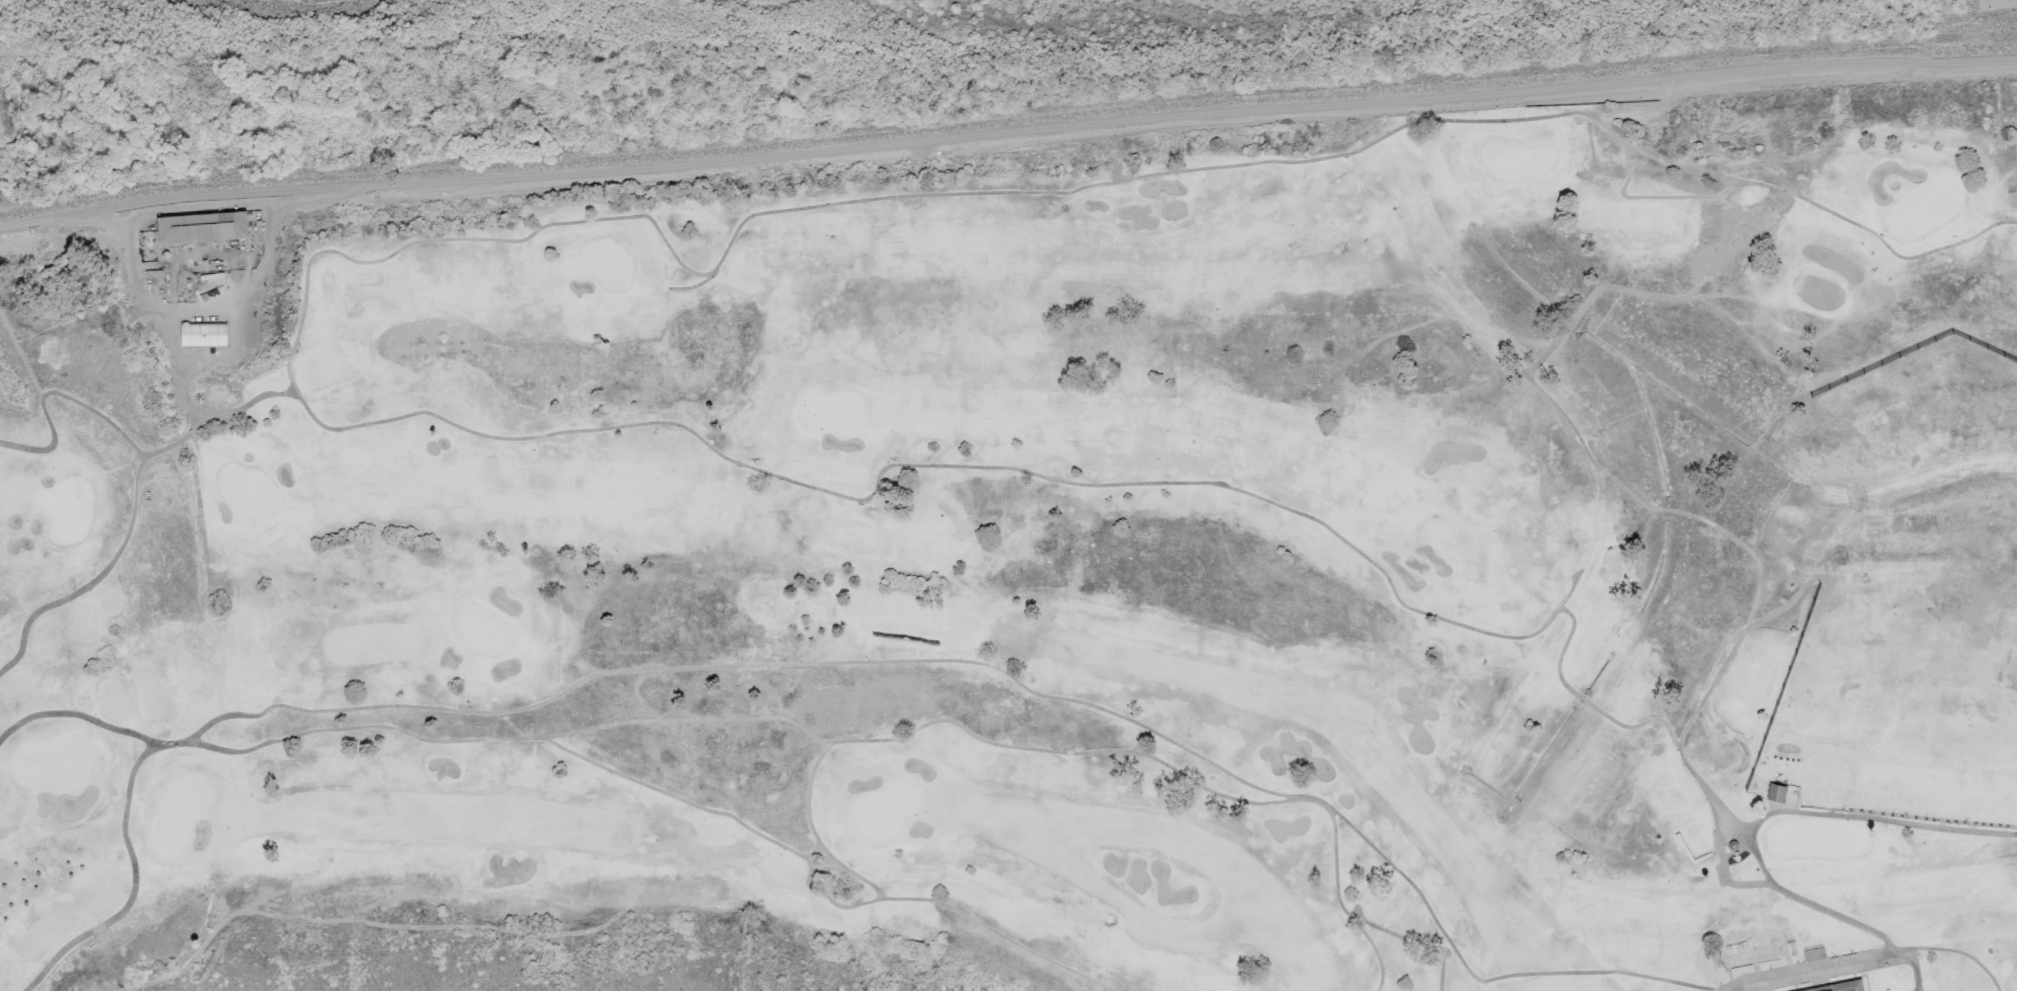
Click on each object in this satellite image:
road: (1183, 115)
road: (1347, 153)
road: (1654, 197)
road: (35, 220)
building: (201, 227)
building: (147, 247)
road: (131, 275)
road: (1623, 290)
road: (193, 310)
building: (202, 334)
road: (56, 393)
road: (669, 423)
road: (132, 508)
road: (1714, 527)
park: (1036, 555)
road: (1568, 592)
road: (742, 666)
road: (1603, 713)
road: (81, 716)
road: (528, 738)
road: (1200, 786)
building: (1775, 792)
road: (1876, 818)
road: (812, 832)
road: (1742, 833)
road: (811, 851)
road: (133, 883)
road: (1768, 885)
road: (815, 887)
road: (1962, 953)
road: (1577, 972)
road: (1914, 972)
road: (1740, 986)
building: (1838, 986)

